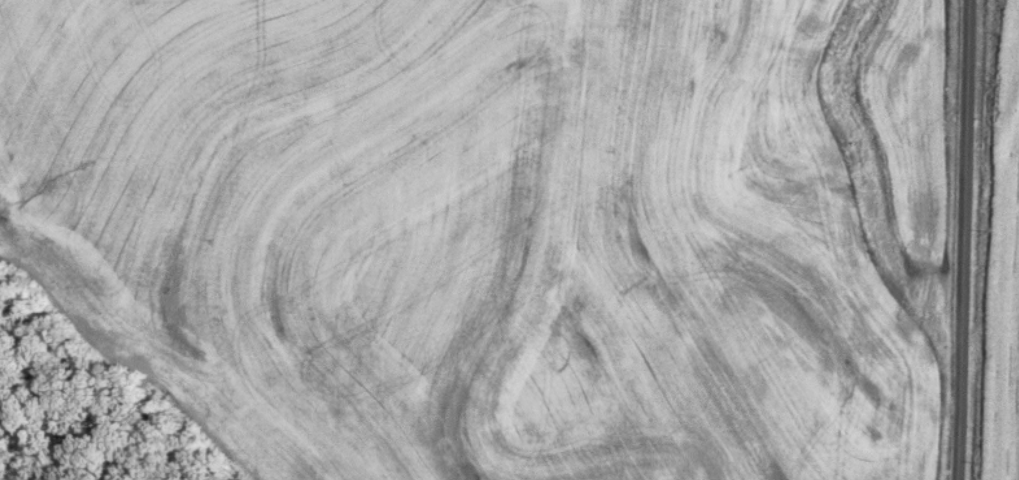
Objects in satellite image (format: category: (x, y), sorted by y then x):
road: (963, 240)

